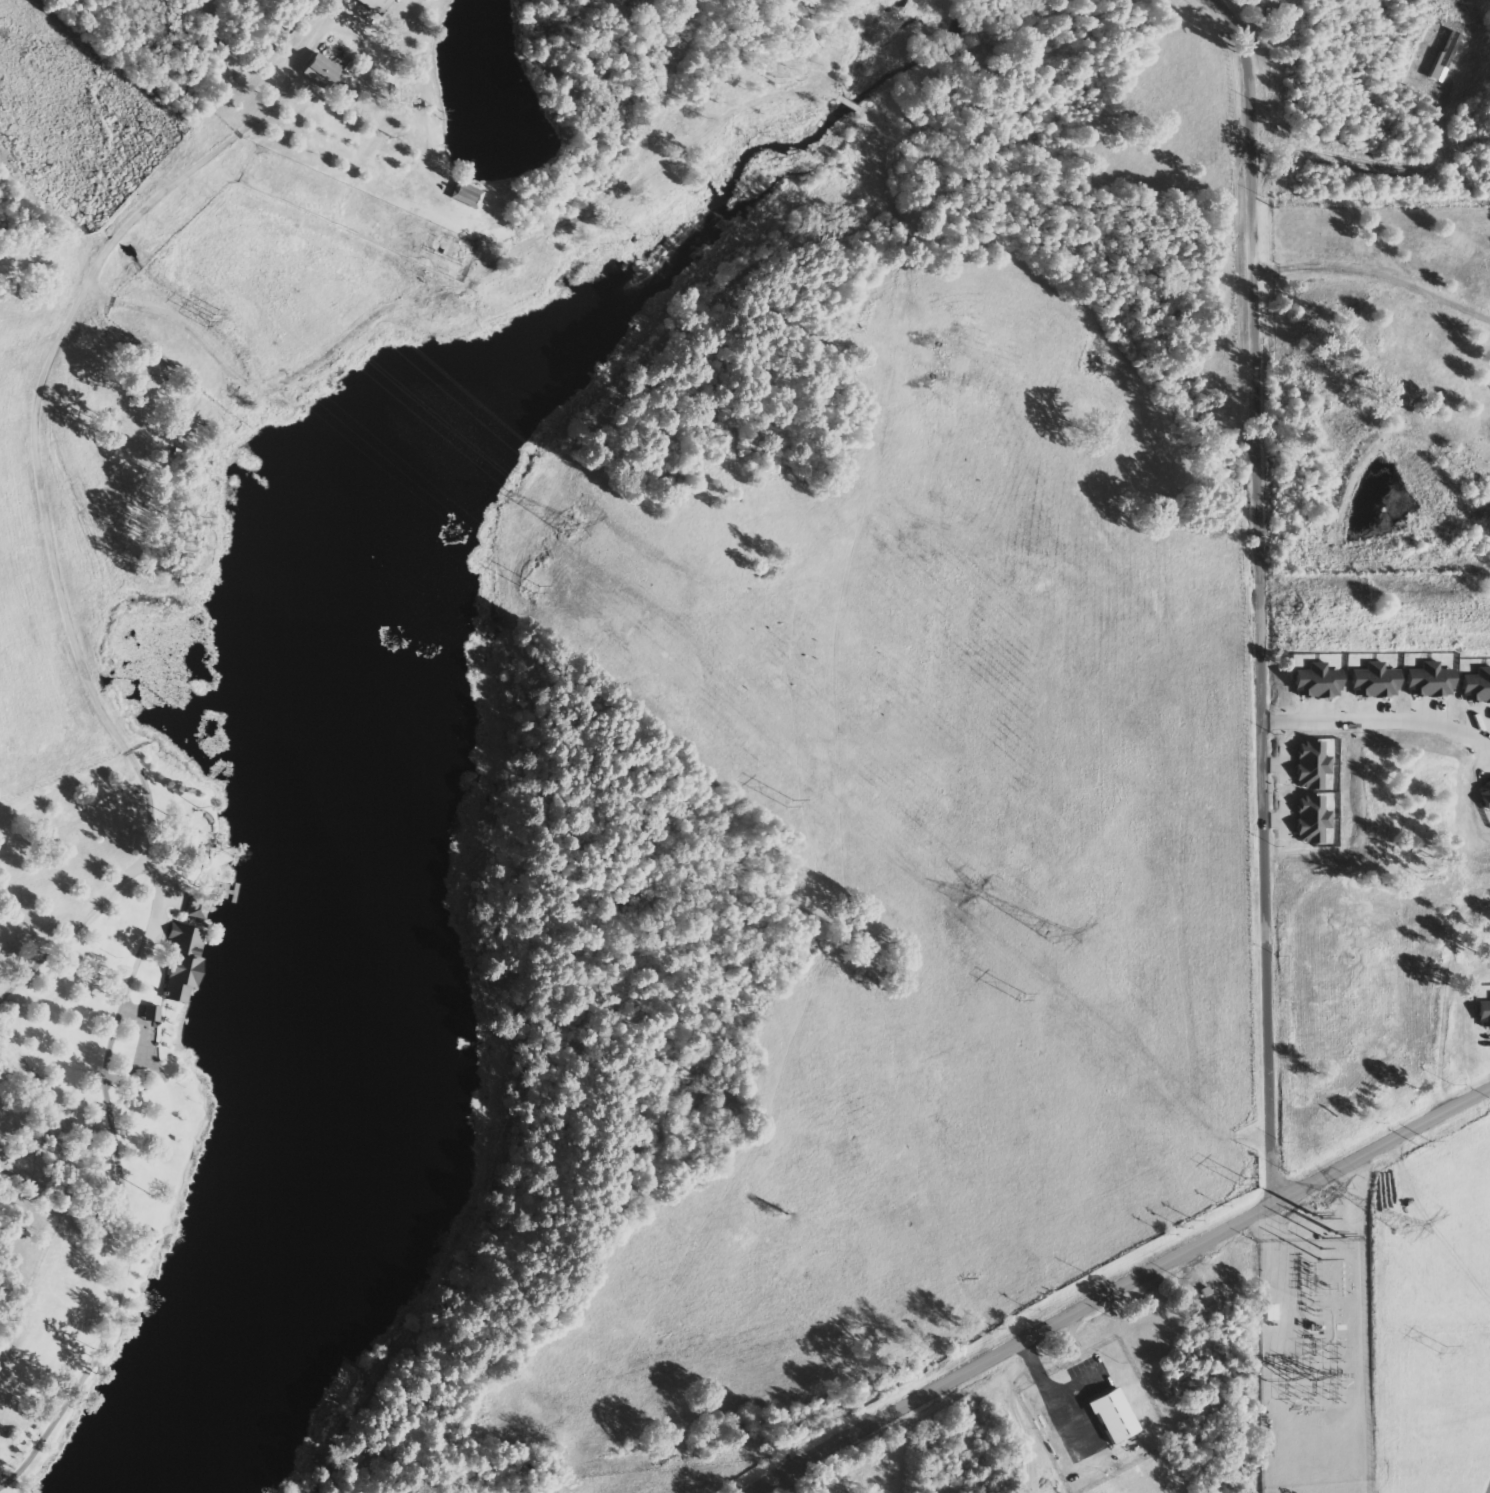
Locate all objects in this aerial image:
building: (374, 5)
building: (1444, 57)
building: (318, 71)
building: (465, 195)
power tower: (575, 528)
road: (1258, 595)
building: (1429, 680)
building: (1374, 681)
building: (1316, 682)
building: (1476, 686)
road: (1377, 720)
building: (1312, 765)
building: (1485, 794)
building: (1312, 819)
building: (197, 908)
power tower: (1054, 933)
building: (182, 962)
building: (151, 1013)
building: (1484, 1014)
power tower: (1404, 1227)
road: (1125, 1288)
power substation: (1316, 1367)
building: (1112, 1416)

